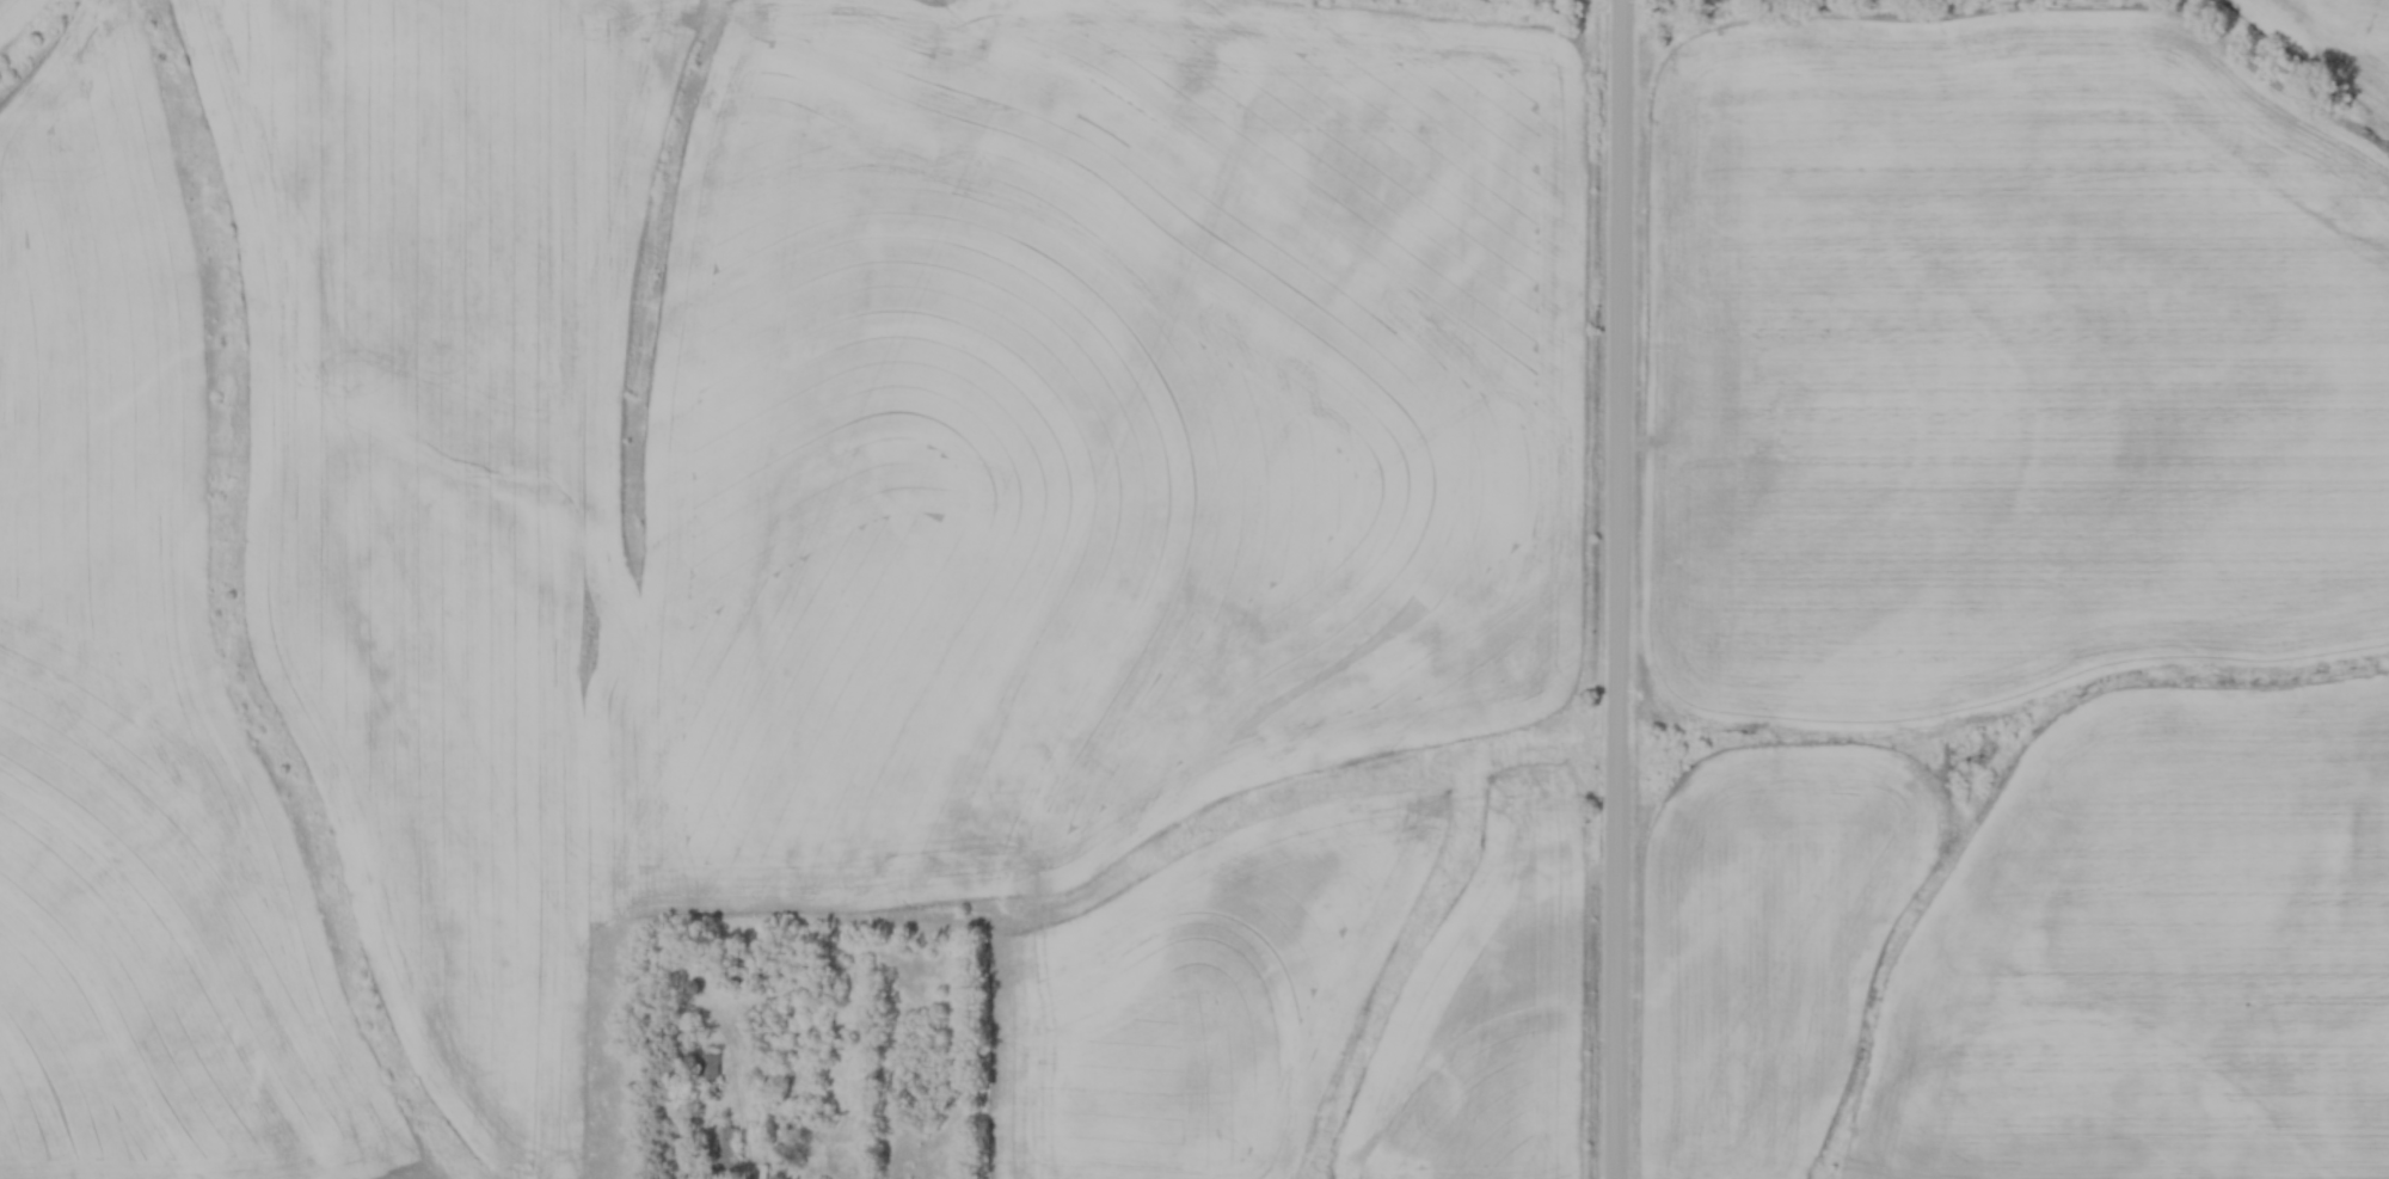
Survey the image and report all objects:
road: (1620, 589)
building: (716, 1068)
building: (823, 1116)
building: (732, 1149)

